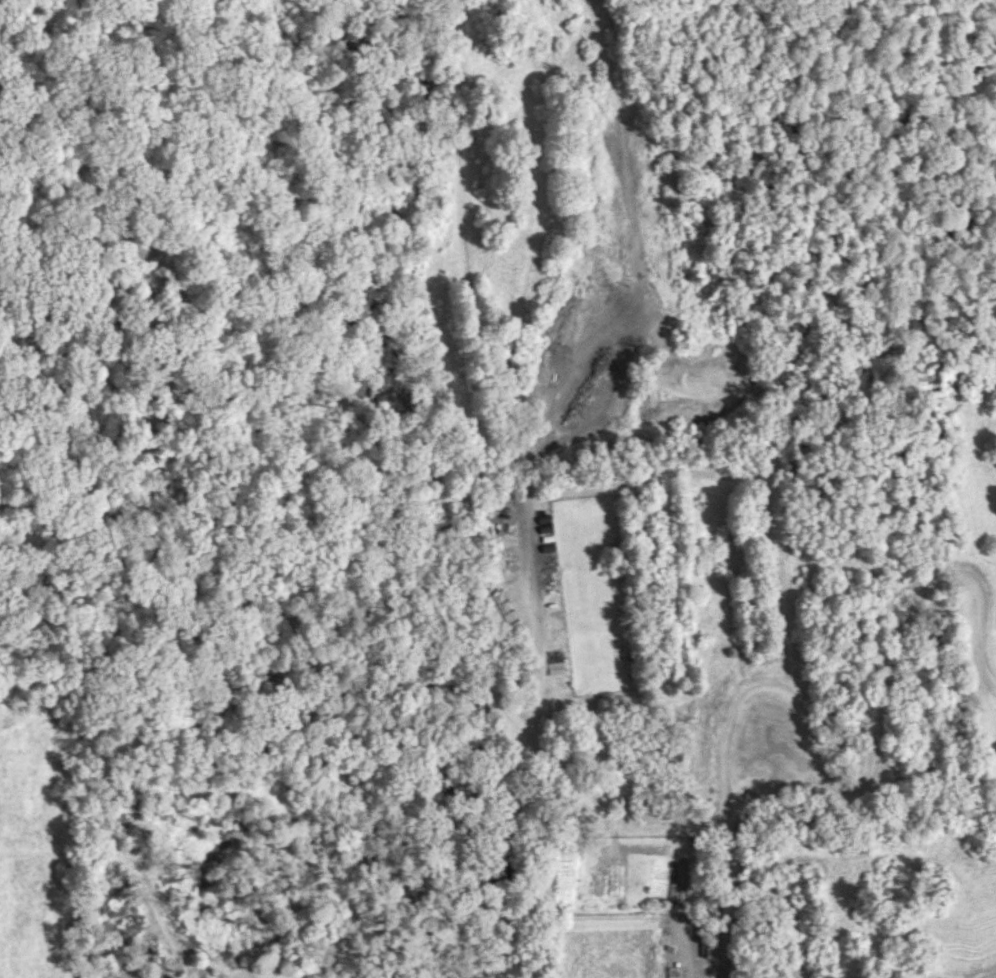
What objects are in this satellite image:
road: (460, 240)
road: (138, 291)
road: (533, 464)
park: (498, 489)
road: (118, 516)
road: (419, 652)
road: (819, 771)
road: (541, 870)
road: (727, 899)
road: (183, 961)

